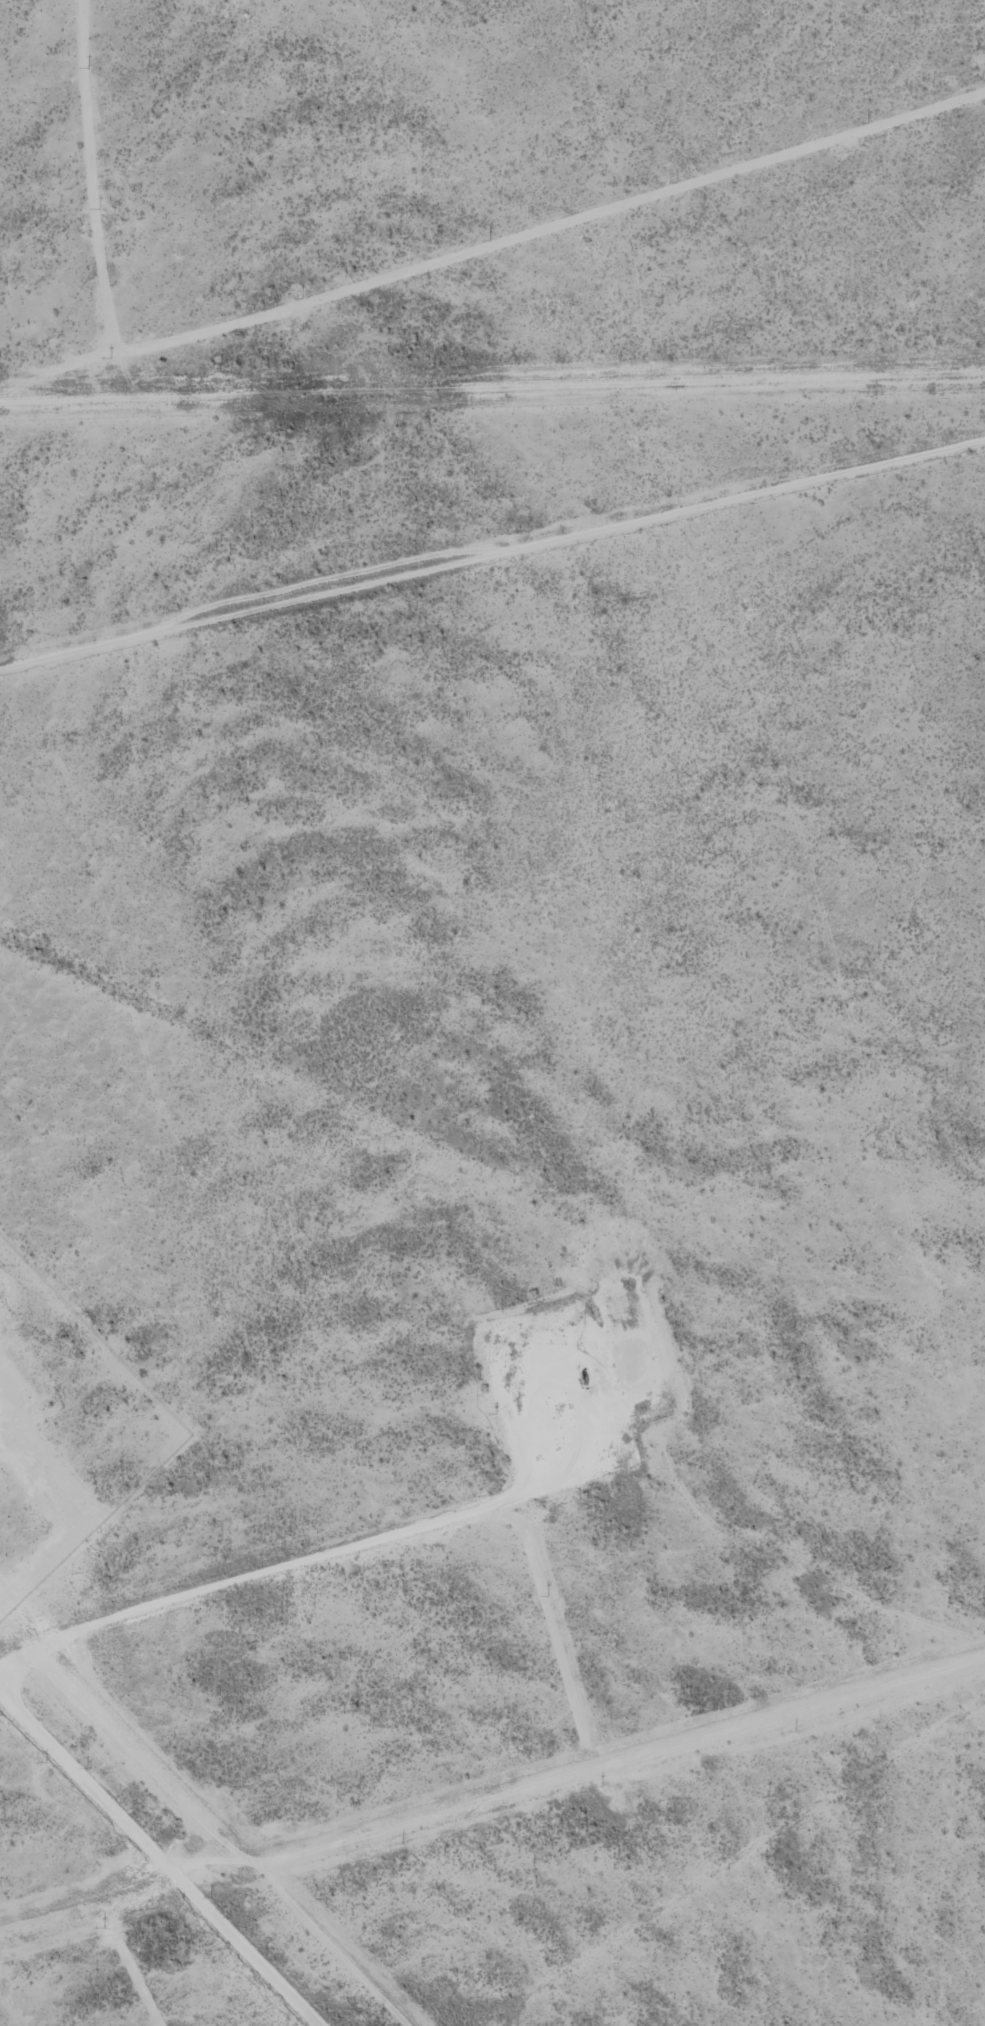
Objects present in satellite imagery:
road: (161, 1858)

